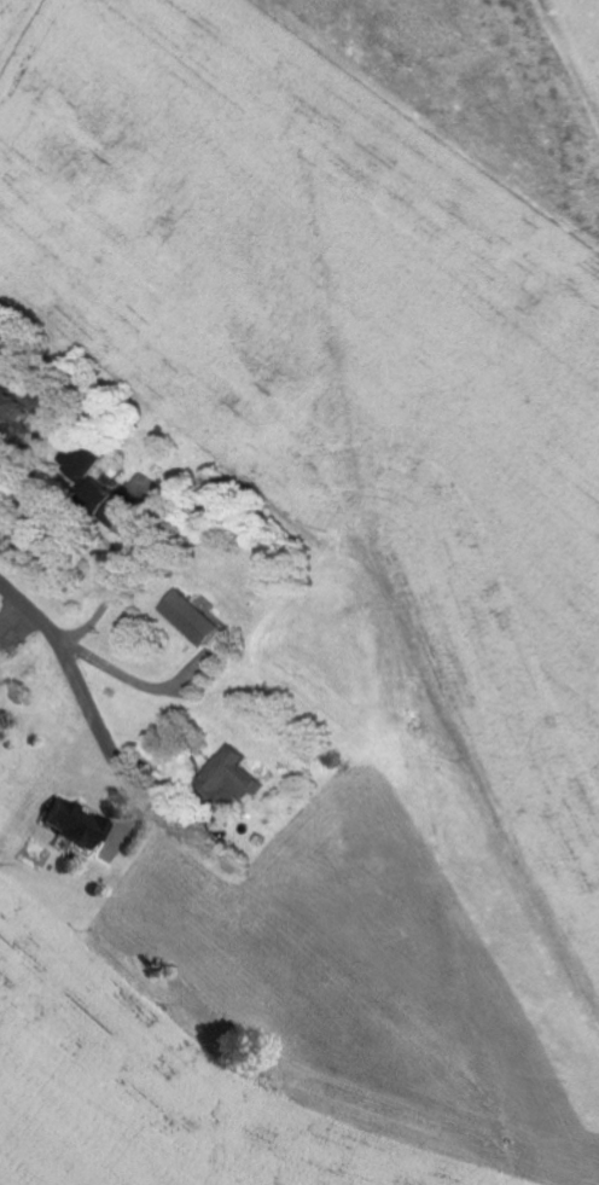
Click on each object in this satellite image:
building: (1, 358)
building: (14, 403)
building: (116, 503)
building: (199, 620)
building: (2, 644)
road: (80, 686)
building: (243, 774)
building: (76, 825)

